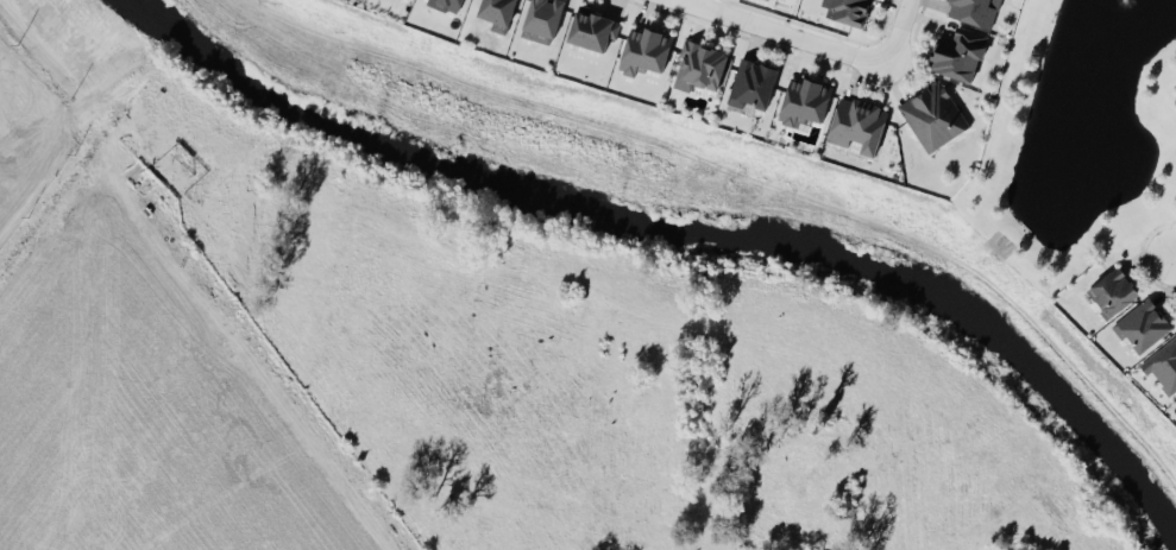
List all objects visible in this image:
road: (686, 1)
building: (445, 4)
fountain: (1124, 6)
building: (845, 10)
building: (971, 11)
building: (496, 13)
building: (541, 19)
building: (592, 27)
road: (780, 32)
road: (892, 32)
building: (643, 48)
building: (957, 52)
building: (698, 64)
building: (751, 83)
building: (804, 99)
building: (932, 114)
building: (856, 121)
river: (691, 227)
road: (1172, 258)
road: (199, 286)
building: (1112, 291)
building: (1142, 324)
building: (1162, 365)

